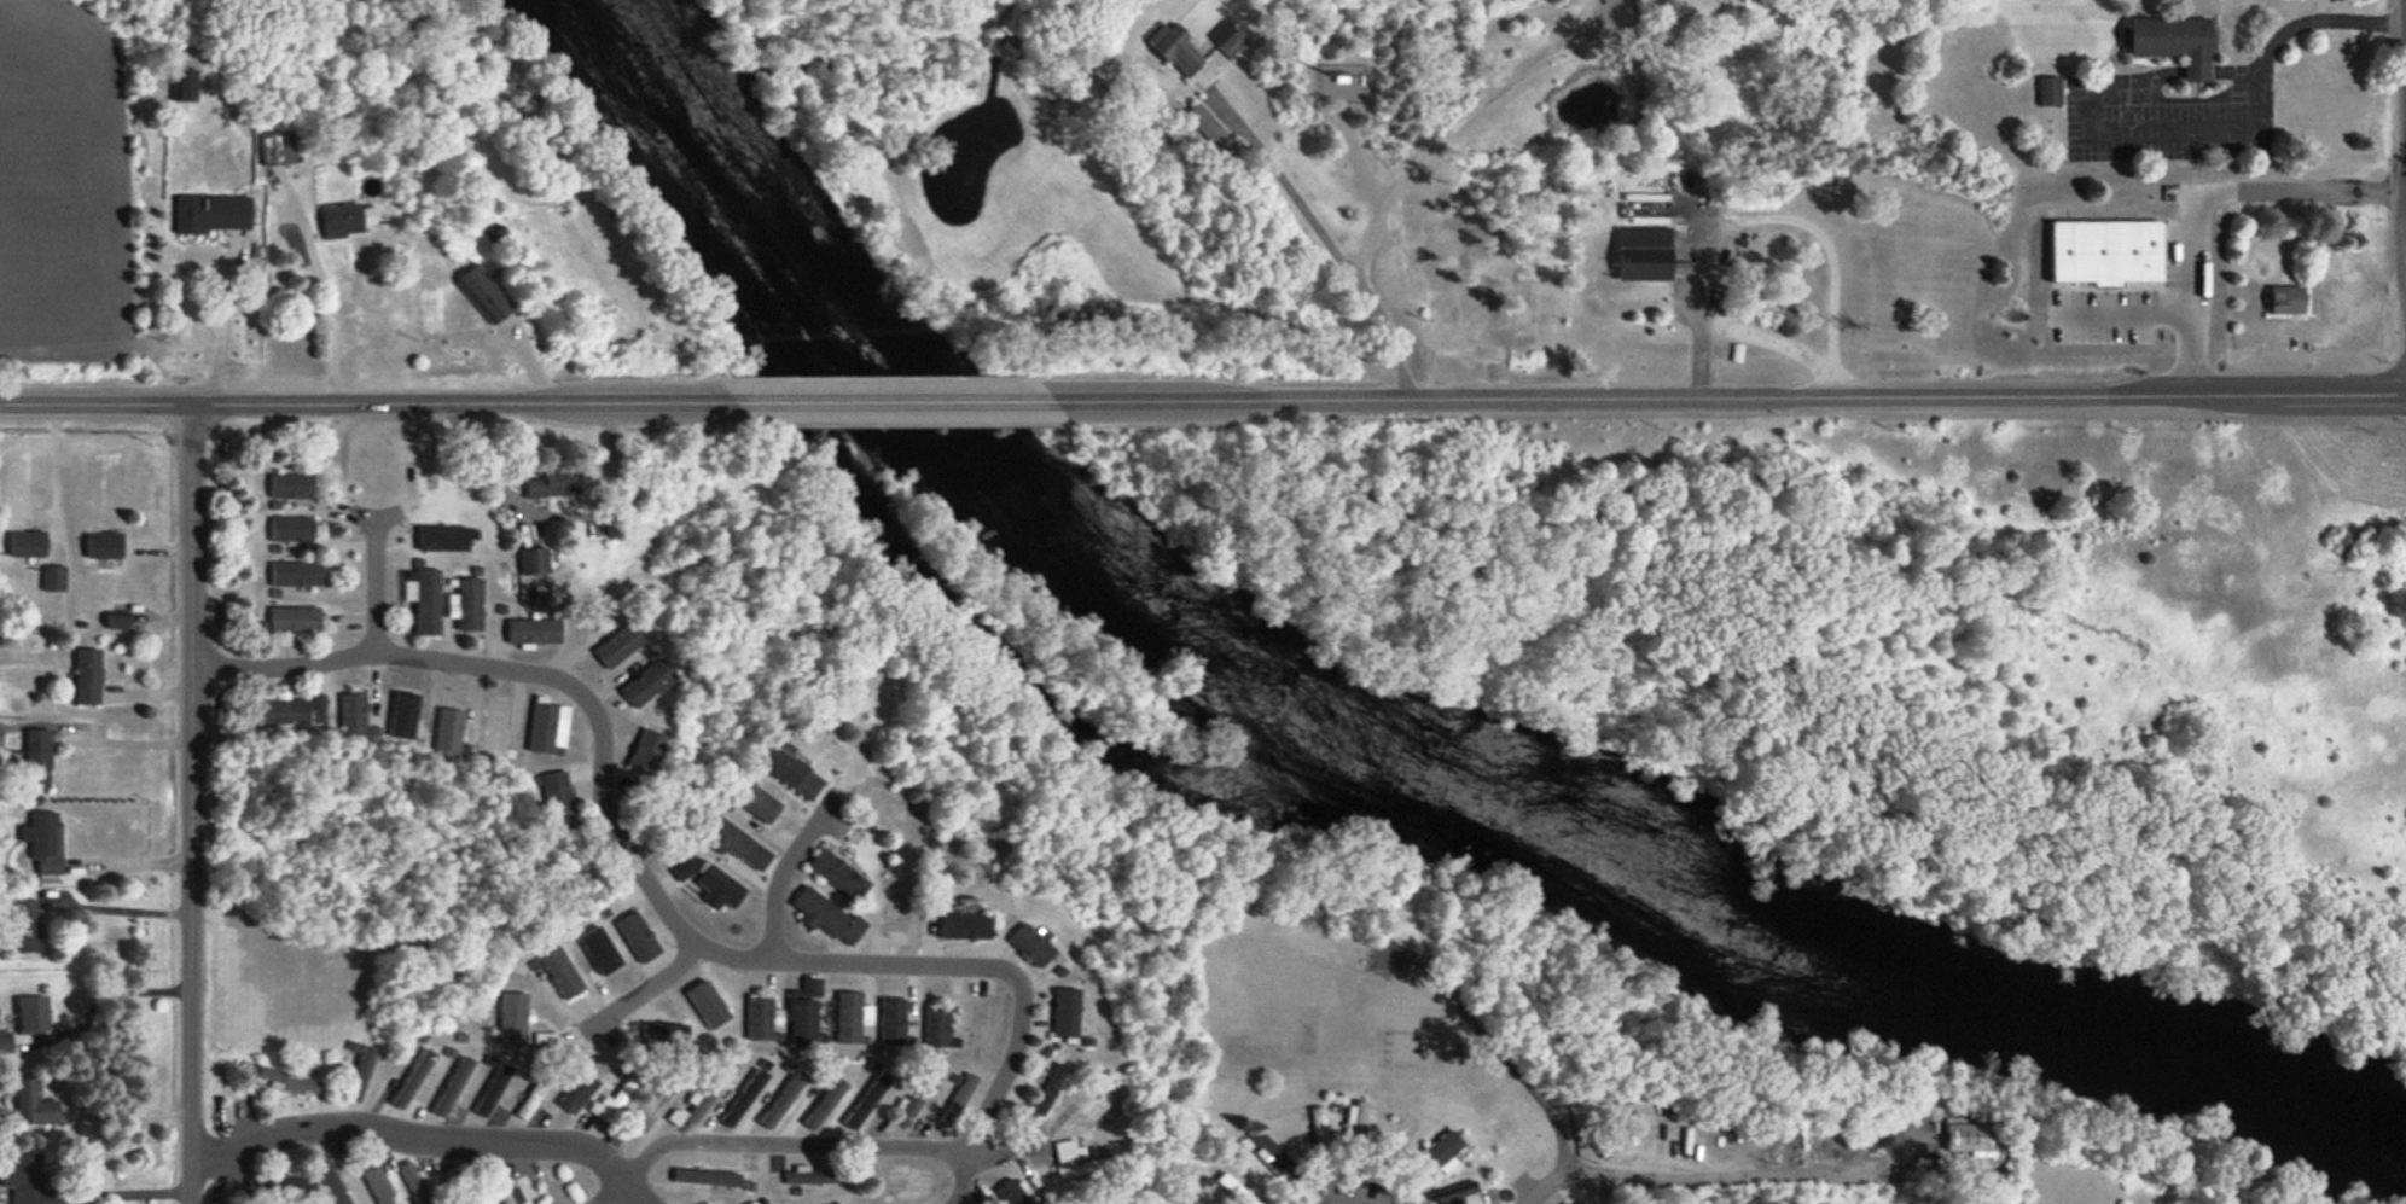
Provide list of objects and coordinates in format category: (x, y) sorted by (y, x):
building: (1782, 16)
building: (2172, 41)
building: (1176, 48)
building: (182, 83)
building: (2047, 89)
road: (2262, 111)
building: (275, 147)
road: (1288, 185)
road: (1393, 194)
road: (2212, 208)
building: (210, 213)
building: (344, 219)
building: (2103, 250)
building: (1643, 252)
building: (481, 292)
road: (324, 295)
building: (2284, 298)
road: (2343, 301)
road: (2122, 314)
road: (221, 326)
road: (1721, 396)
road: (893, 405)
road: (373, 407)
road: (54, 479)
building: (551, 483)
building: (290, 484)
road: (558, 516)
building: (290, 528)
building: (441, 537)
building: (27, 543)
building: (103, 545)
building: (531, 559)
building: (296, 572)
building: (53, 577)
road: (373, 577)
building: (424, 599)
building: (466, 603)
building: (292, 617)
building: (116, 621)
building: (531, 630)
building: (616, 645)
building: (86, 675)
building: (646, 681)
river: (1378, 694)
building: (0, 696)
building: (319, 702)
building: (281, 709)
building: (351, 712)
building: (402, 715)
building: (494, 727)
building: (448, 729)
building: (0, 733)
road: (126, 743)
building: (645, 750)
building: (37, 757)
building: (788, 772)
building: (556, 799)
building: (755, 802)
road: (194, 805)
building: (45, 841)
building: (734, 842)
road: (129, 866)
building: (679, 867)
road: (780, 871)
building: (837, 873)
building: (717, 888)
road: (118, 909)
building: (825, 915)
building: (25, 925)
building: (963, 925)
building: (635, 936)
building: (1029, 944)
building: (603, 946)
road: (808, 961)
building: (587, 969)
building: (559, 971)
road: (640, 987)
road: (103, 995)
building: (705, 1004)
building: (802, 1011)
building: (1064, 1011)
building: (33, 1013)
building: (850, 1016)
building: (512, 1017)
building: (760, 1017)
building: (891, 1020)
building: (936, 1026)
building: (663, 1031)
building: (5, 1041)
road: (1493, 1047)
building: (360, 1072)
building: (412, 1077)
building: (286, 1080)
building: (451, 1086)
building: (492, 1089)
building: (575, 1092)
building: (1042, 1092)
building: (703, 1095)
building: (912, 1098)
building: (957, 1098)
building: (529, 1099)
building: (611, 1099)
building: (31, 1103)
building: (652, 1106)
road: (126, 1112)
building: (1354, 1119)
building: (1970, 1136)
road: (428, 1141)
building: (1267, 1151)
building: (1439, 1152)
building: (1069, 1159)
building: (809, 1175)
building: (704, 1176)
road: (1740, 1176)
building: (330, 1179)
building: (906, 1179)
road: (960, 1179)
building: (28, 1181)
building: (376, 1181)
building: (414, 1181)
building: (502, 1183)
road: (1546, 1185)
building: (286, 1187)
building: (1015, 1192)
road: (128, 1193)
building: (1449, 1193)
building: (751, 1203)
building: (835, 1203)
building: (1565, 1203)

